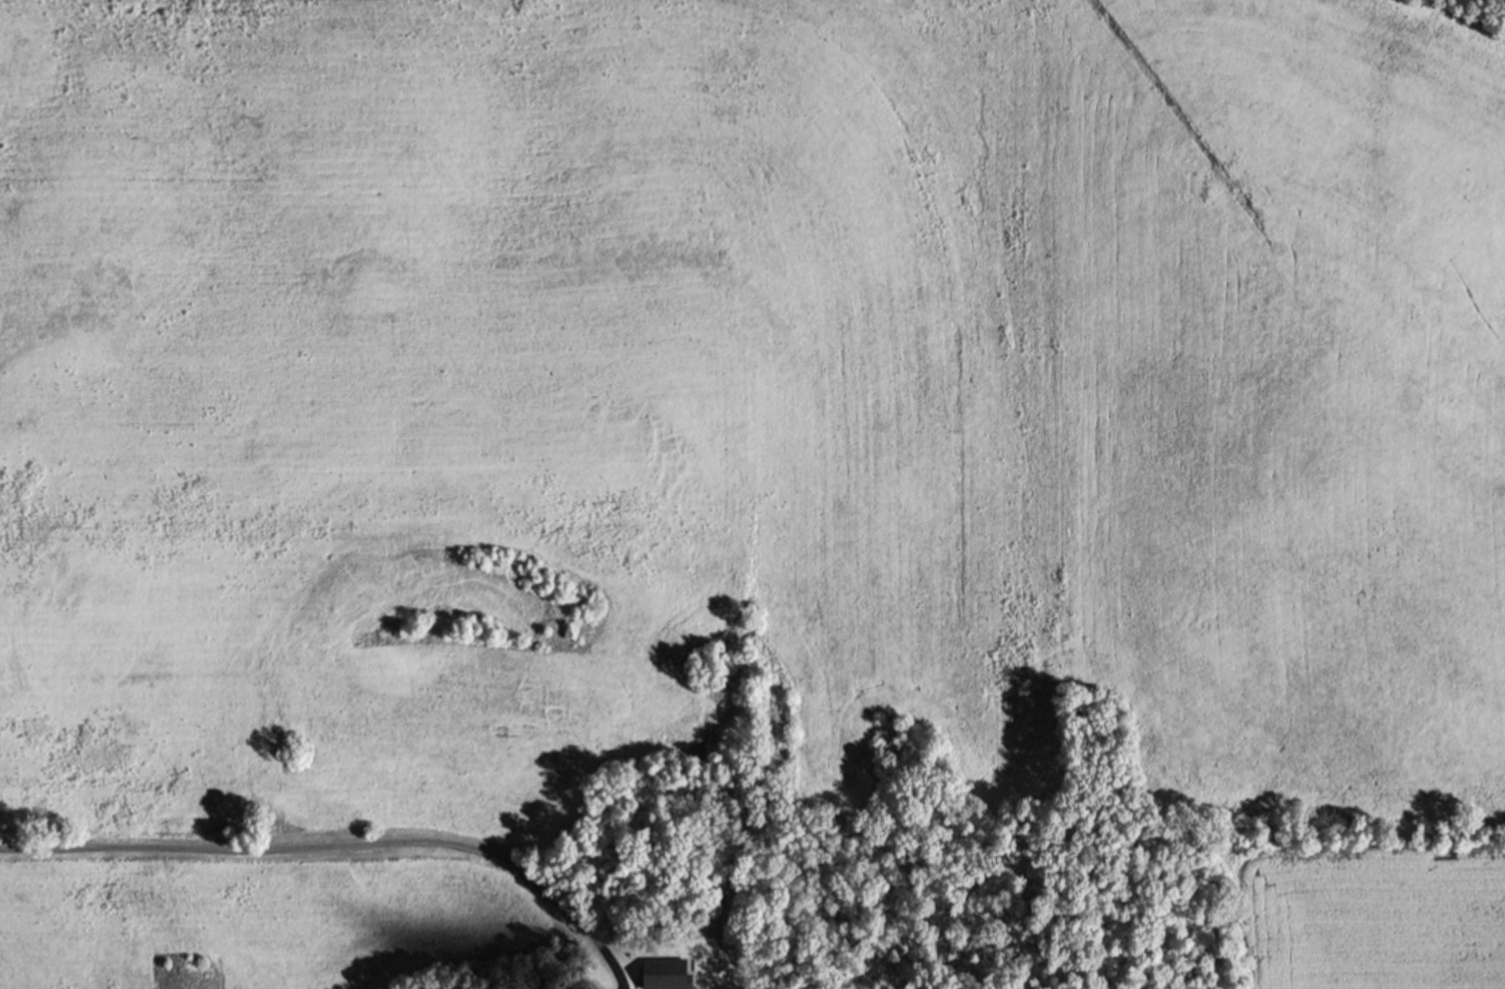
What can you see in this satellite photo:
road: (342, 846)
building: (651, 872)

